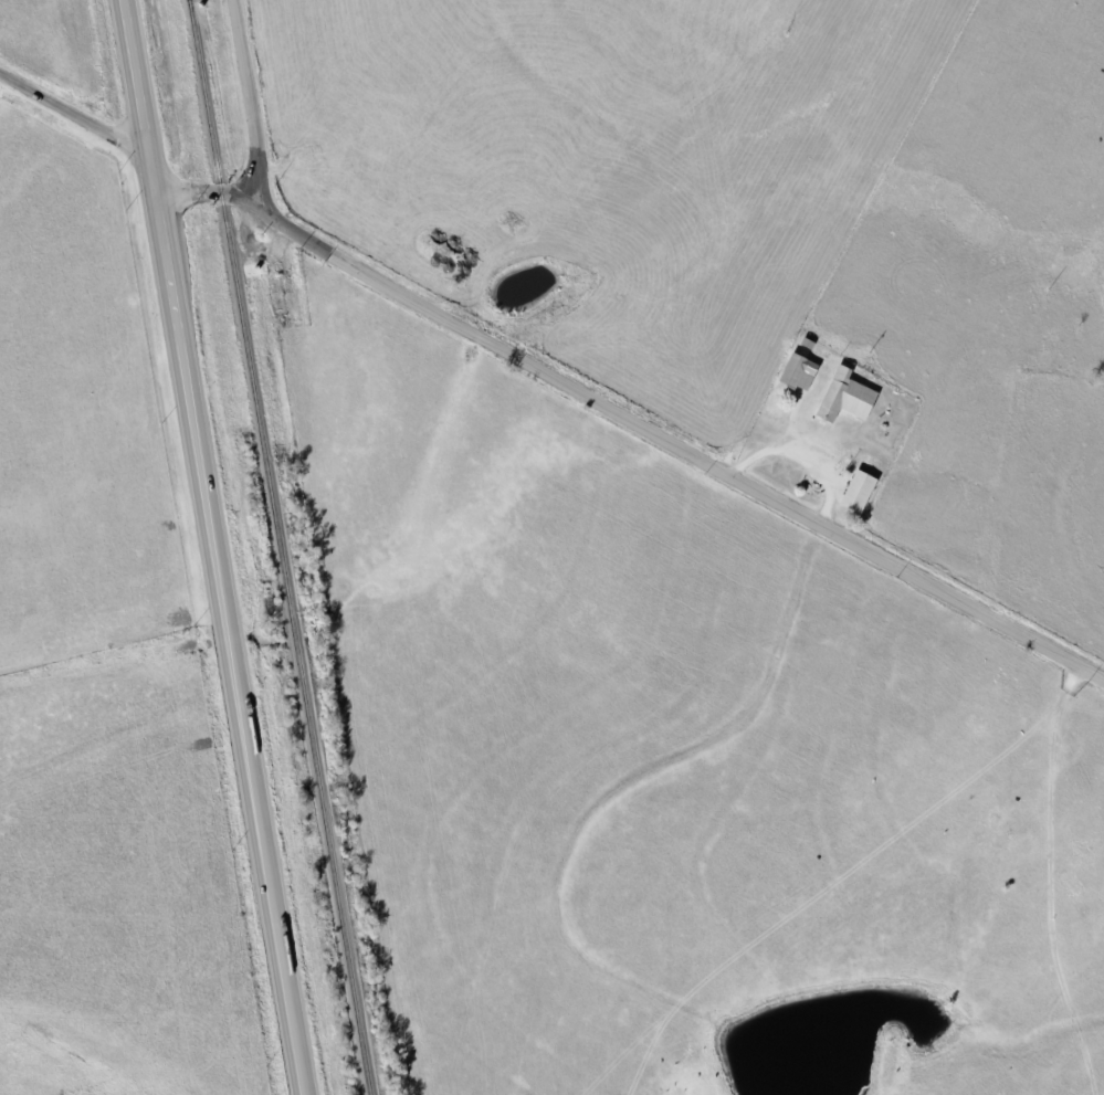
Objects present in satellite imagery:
road: (75, 106)
road: (251, 106)
road: (214, 193)
building: (800, 370)
building: (848, 394)
road: (685, 443)
building: (860, 489)
road: (217, 547)
railway: (283, 547)

